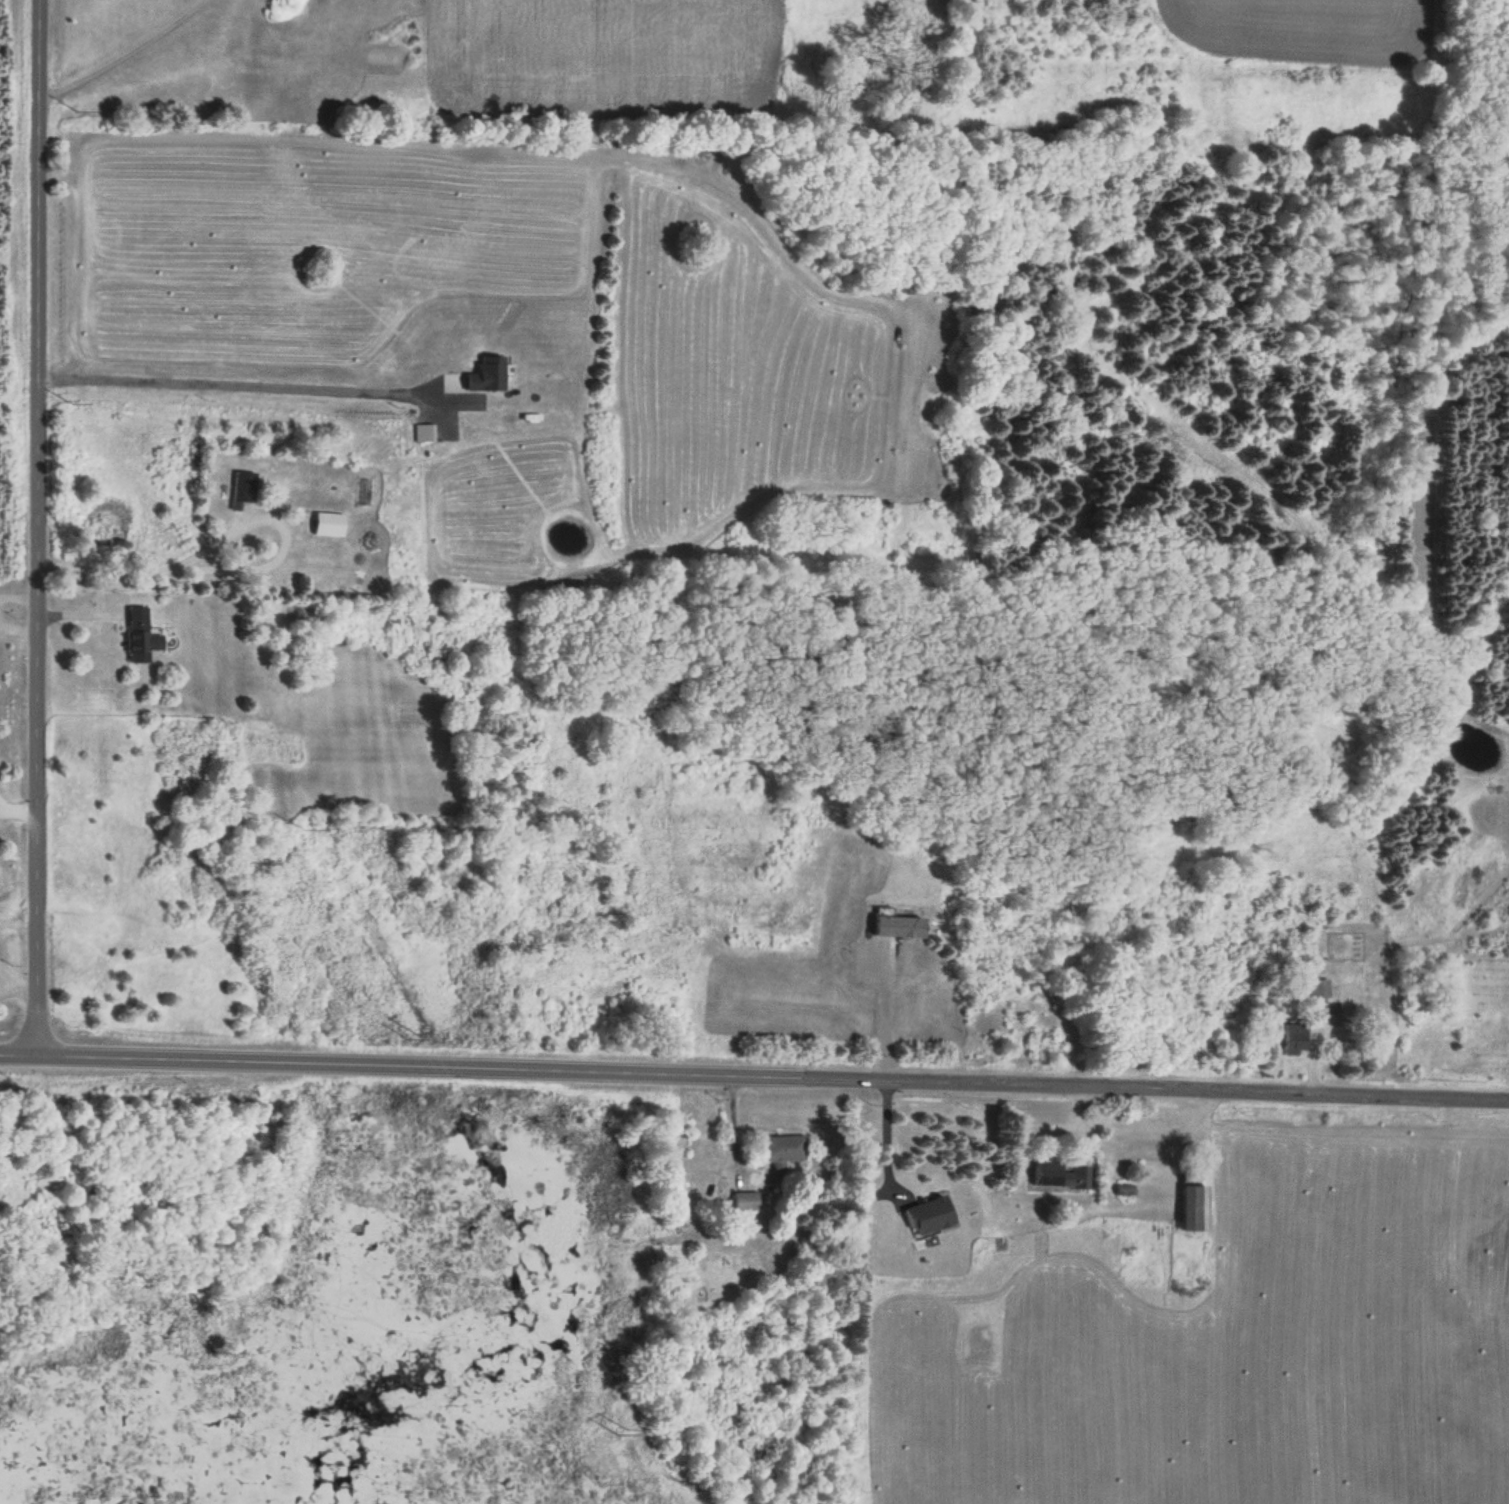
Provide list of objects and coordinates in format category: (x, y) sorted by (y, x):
building: (242, 487)
building: (328, 523)
road: (37, 525)
building: (139, 636)
building: (898, 926)
building: (1318, 988)
building: (1293, 1038)
road: (754, 1074)
building: (782, 1148)
building: (1059, 1172)
building: (1193, 1205)
building: (929, 1214)
power tower: (619, 1427)

